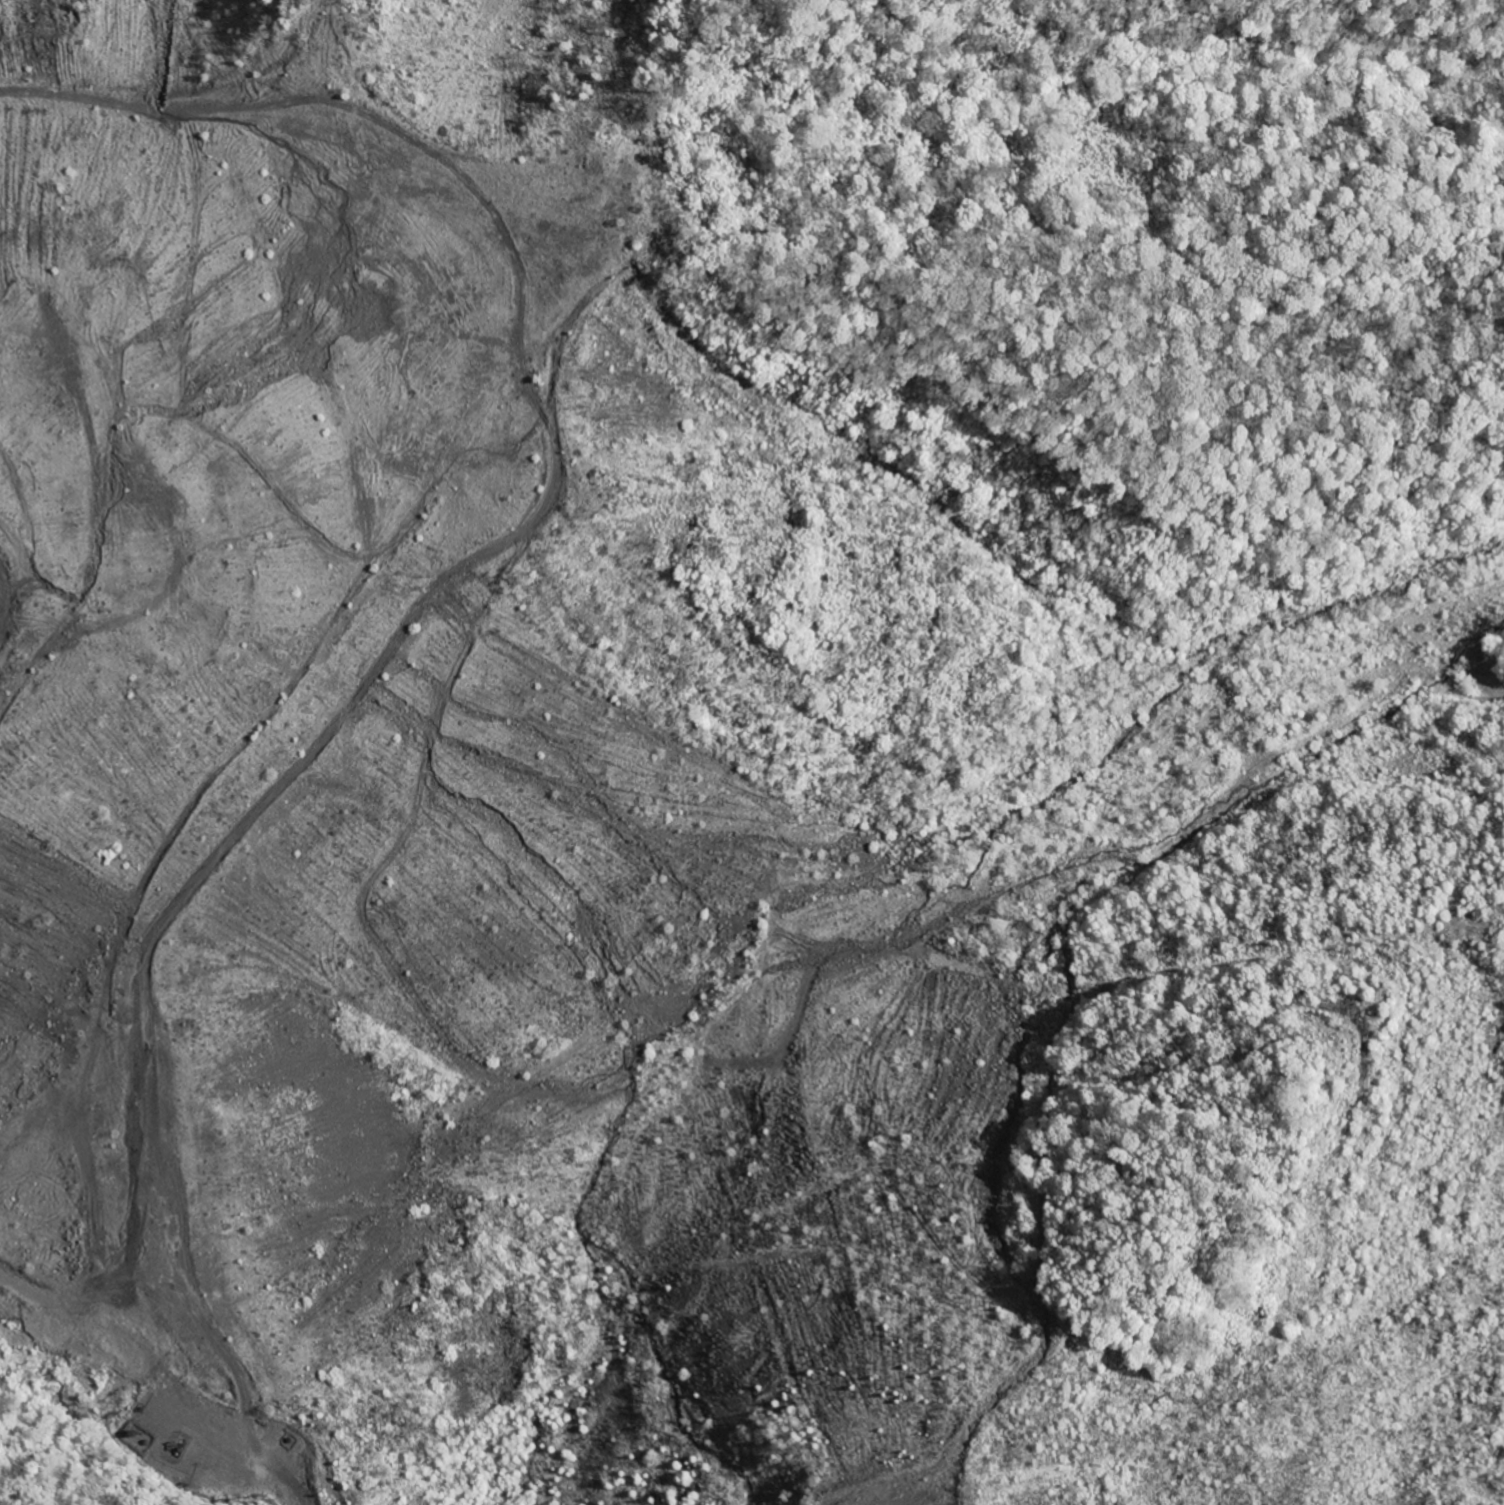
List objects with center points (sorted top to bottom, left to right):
road: (411, 572)

